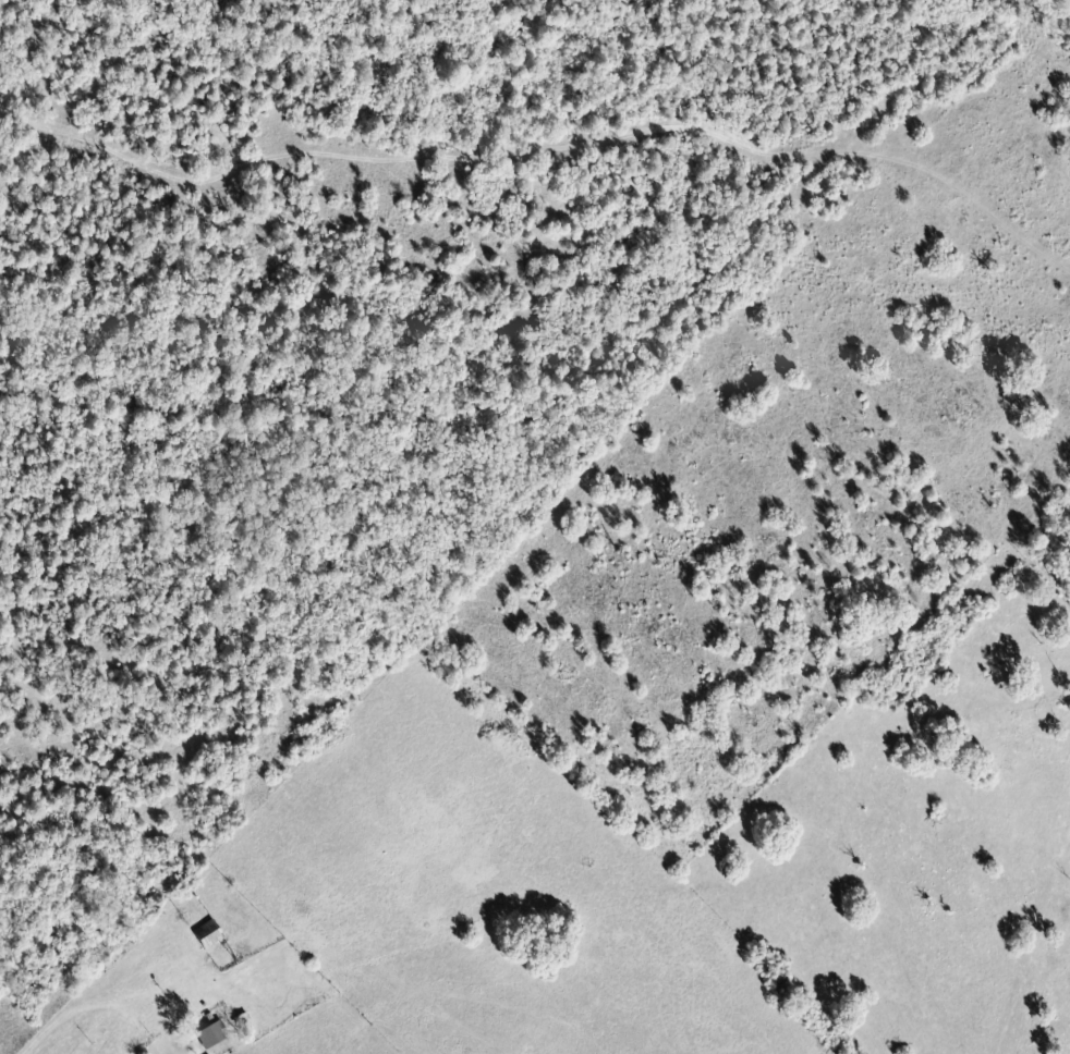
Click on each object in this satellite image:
building: (209, 933)
building: (214, 1034)
road: (39, 1052)

